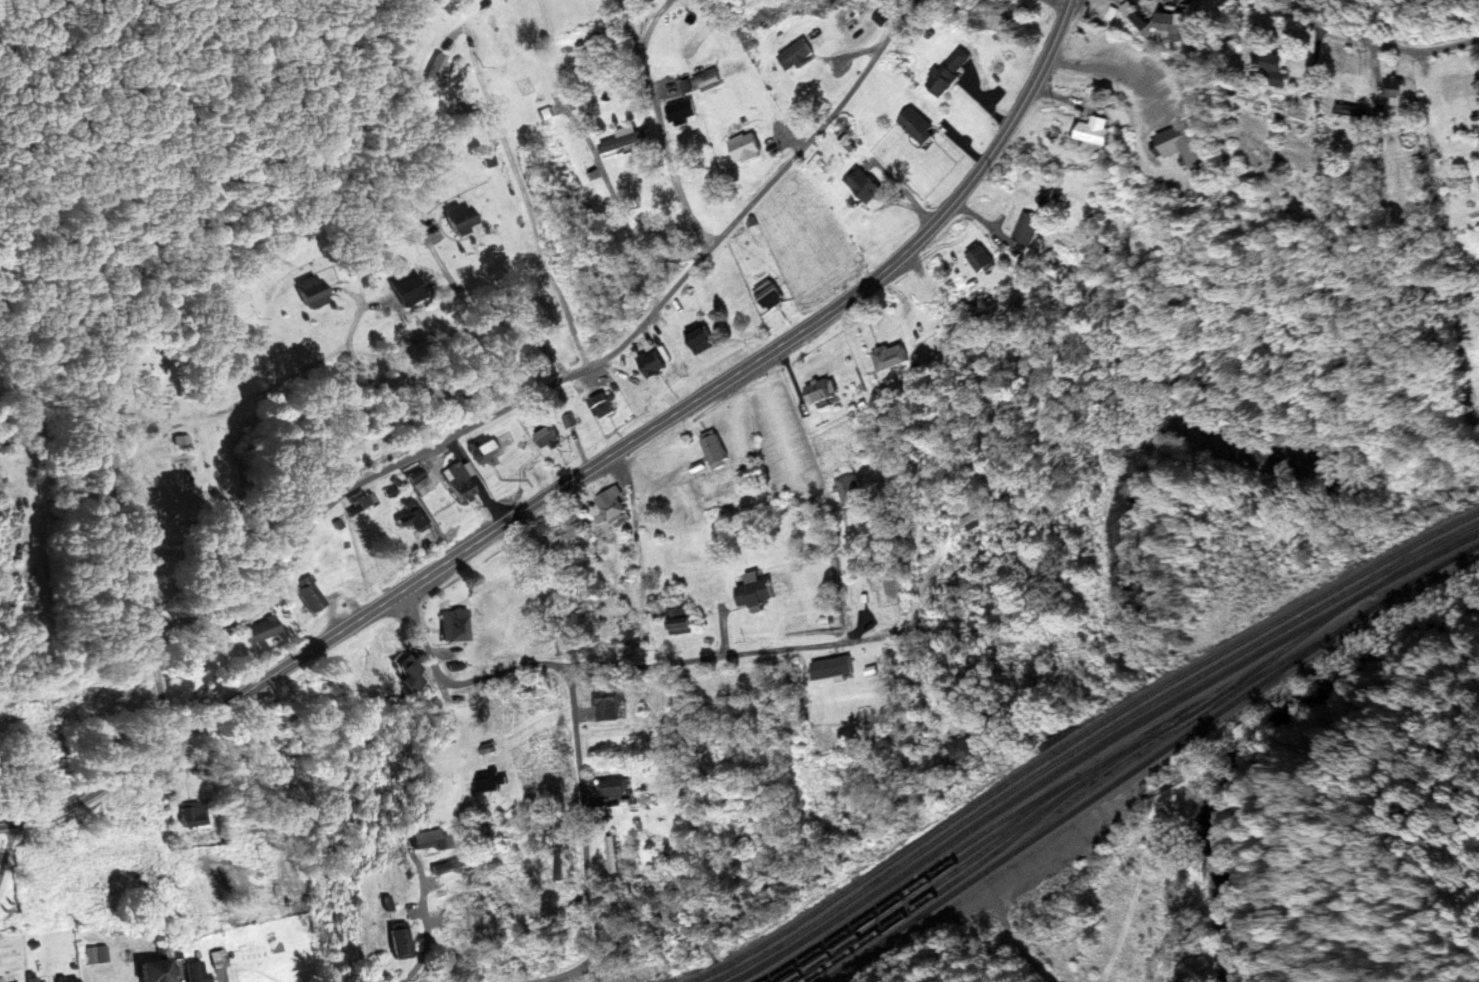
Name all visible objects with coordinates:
road: (1058, 4)
road: (1069, 4)
road: (1346, 51)
building: (437, 73)
building: (600, 103)
building: (686, 111)
building: (749, 147)
building: (866, 183)
building: (463, 217)
building: (982, 256)
road: (884, 270)
building: (409, 287)
building: (313, 291)
building: (773, 292)
building: (705, 338)
building: (895, 356)
building: (657, 363)
building: (824, 390)
road: (530, 399)
building: (605, 405)
building: (571, 421)
building: (549, 434)
building: (181, 439)
building: (719, 447)
building: (487, 450)
building: (420, 481)
building: (460, 481)
building: (614, 497)
building: (359, 502)
building: (417, 517)
building: (974, 519)
building: (762, 593)
building: (310, 594)
road: (642, 616)
building: (682, 616)
building: (454, 625)
building: (261, 629)
road: (312, 648)
road: (622, 661)
building: (862, 670)
building: (413, 672)
building: (611, 704)
building: (962, 747)
railway: (1098, 747)
railway: (1148, 761)
building: (490, 781)
building: (170, 786)
building: (617, 787)
road: (582, 805)
building: (191, 813)
building: (431, 840)
building: (613, 852)
building: (562, 864)
building: (451, 865)
building: (457, 895)
building: (535, 910)
road: (486, 918)
building: (462, 932)
building: (402, 943)
building: (255, 955)
building: (218, 958)
building: (156, 971)
building: (197, 971)
road: (576, 971)
building: (69, 979)

